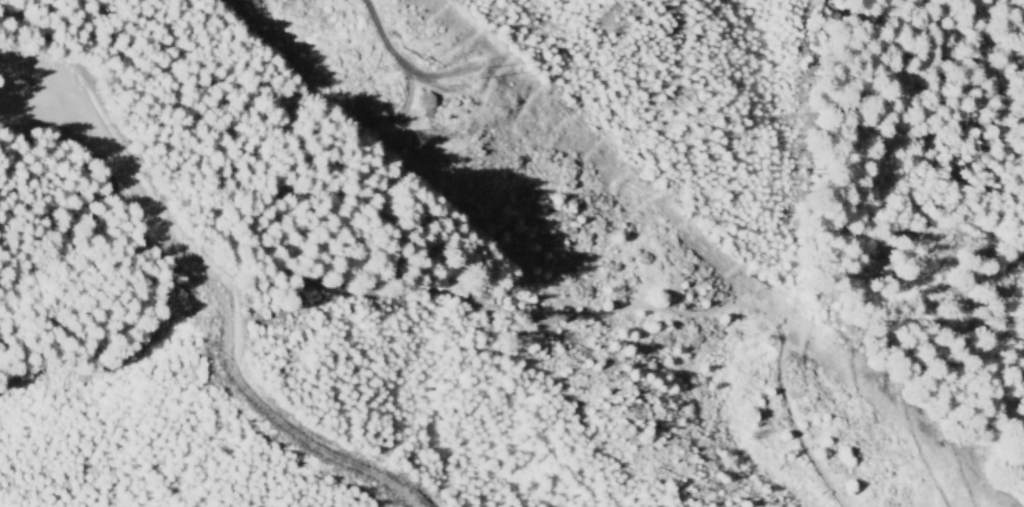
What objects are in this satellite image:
power tower: (478, 75)
road: (659, 387)

